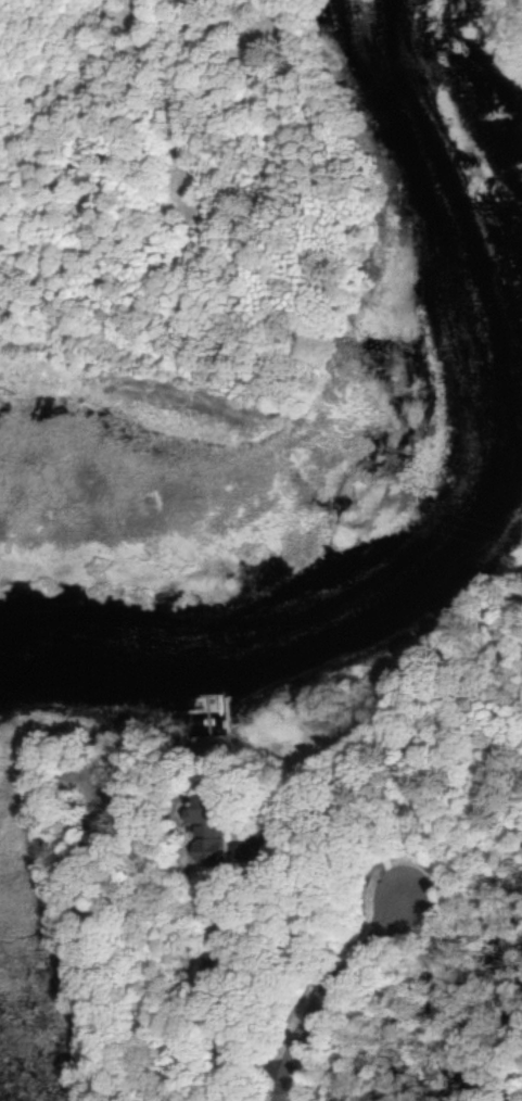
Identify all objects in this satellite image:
power tower: (13, 403)
river: (468, 498)
building: (204, 828)
road: (293, 936)
road: (327, 990)
park: (56, 1030)

